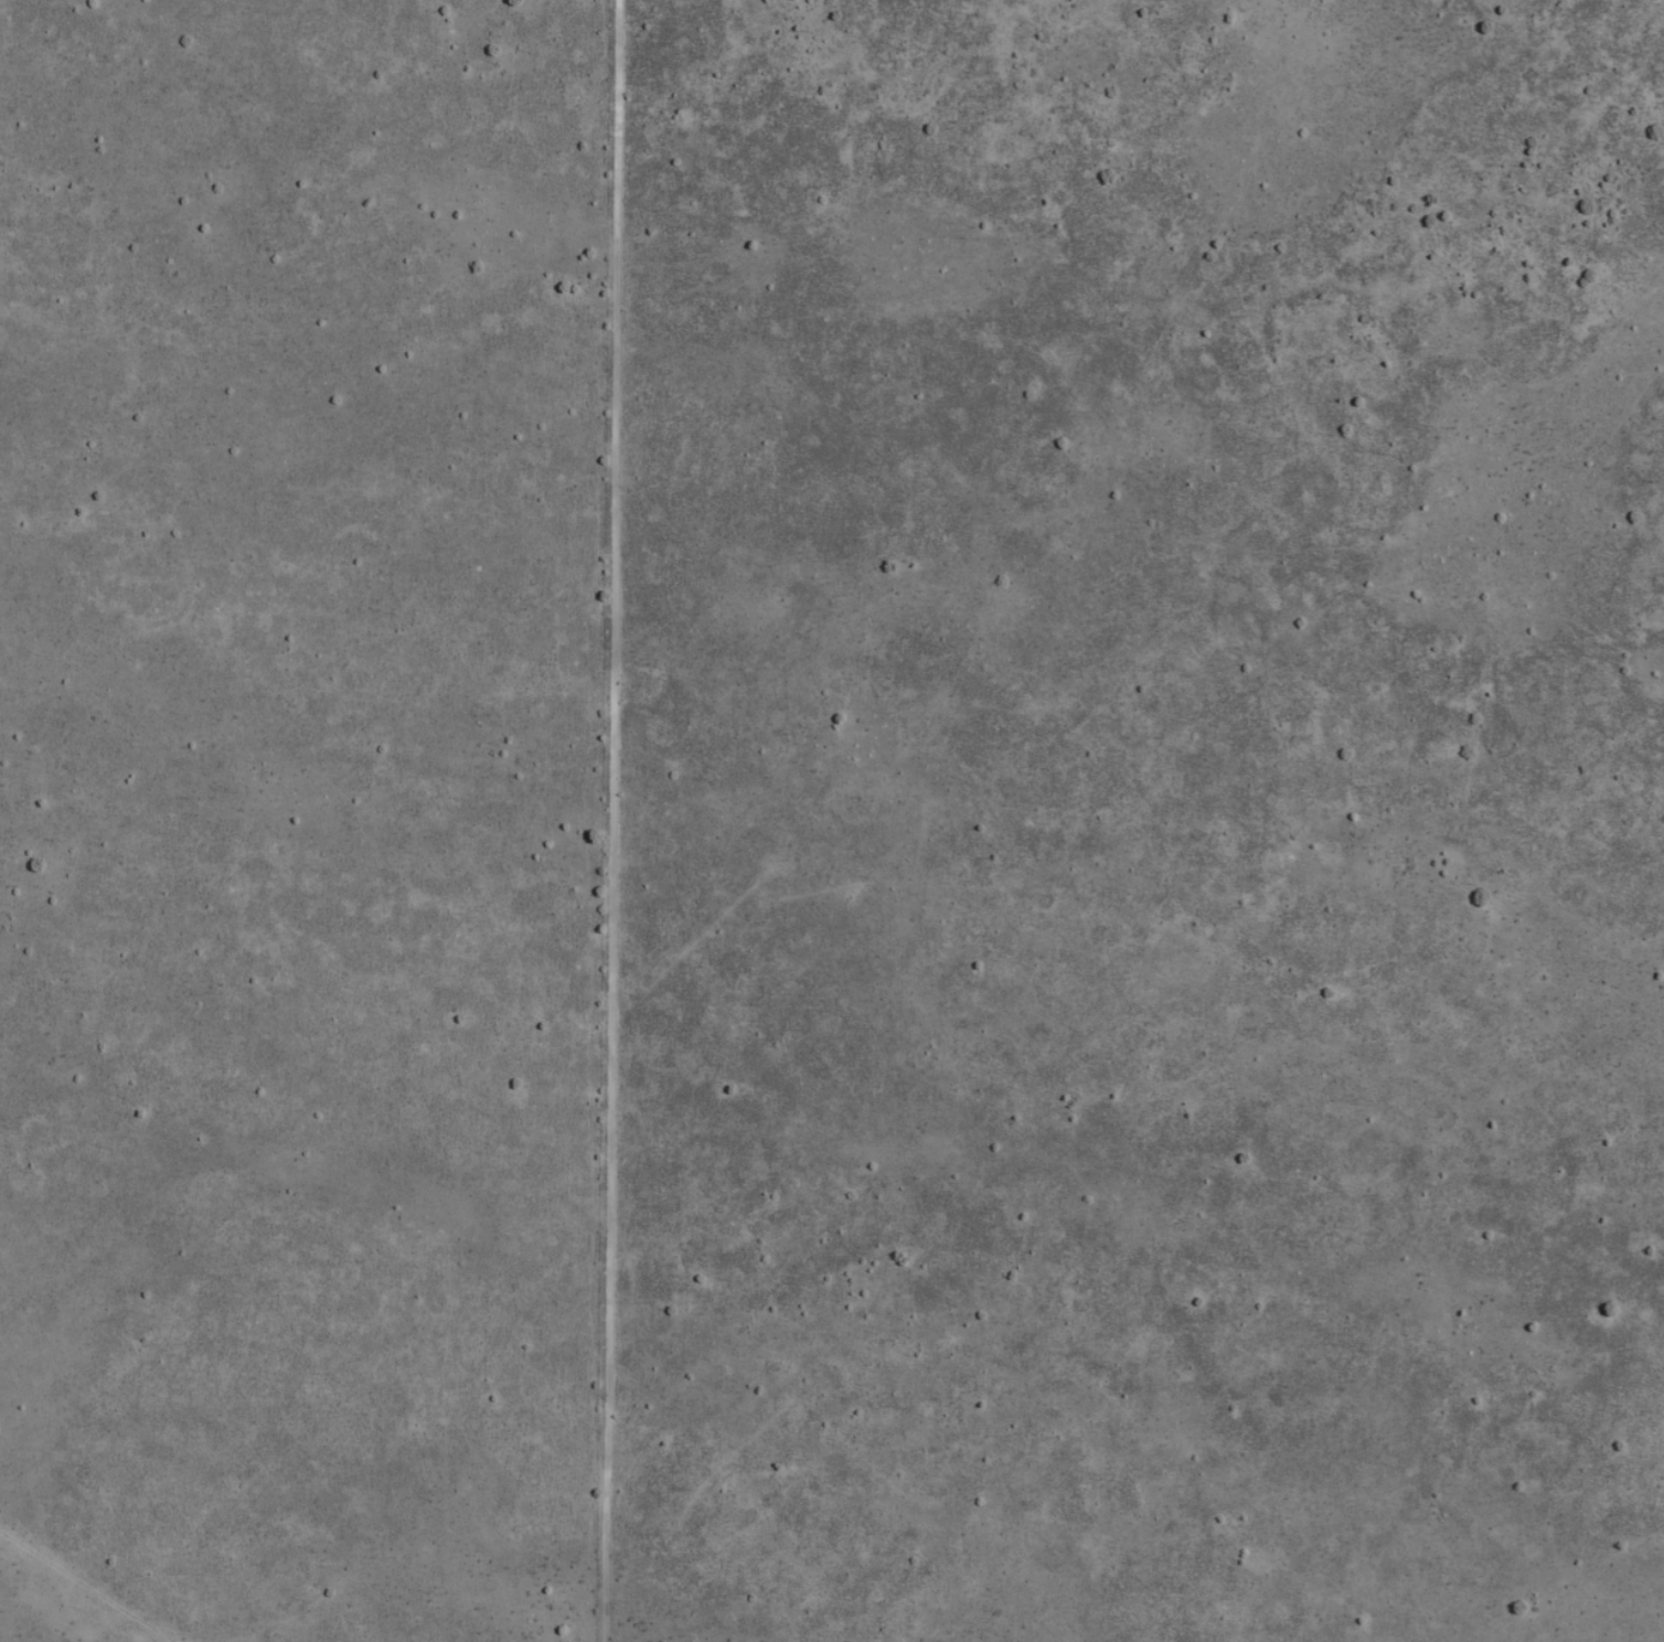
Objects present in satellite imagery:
road: (122, 1558)

